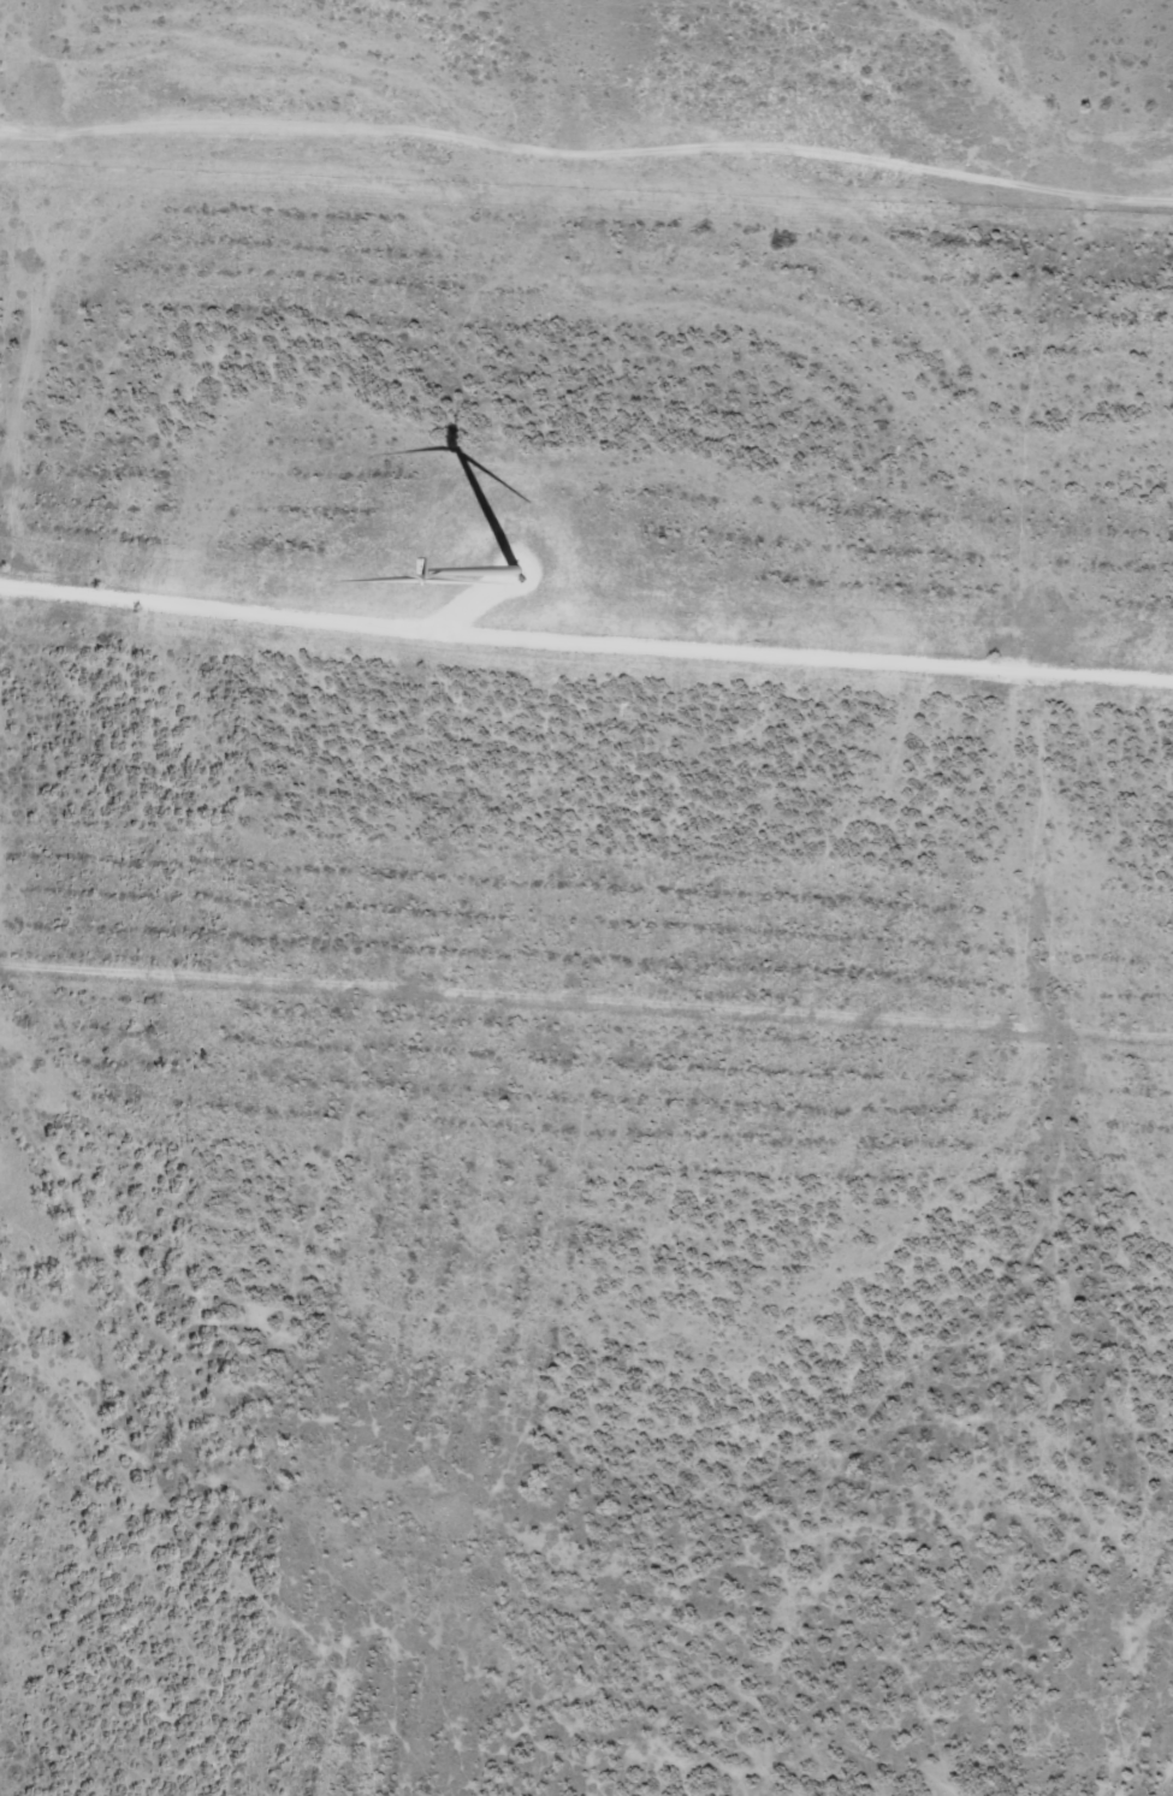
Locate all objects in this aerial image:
road: (587, 179)
wind turbine: (525, 561)
road: (586, 639)
road: (1162, 1782)

